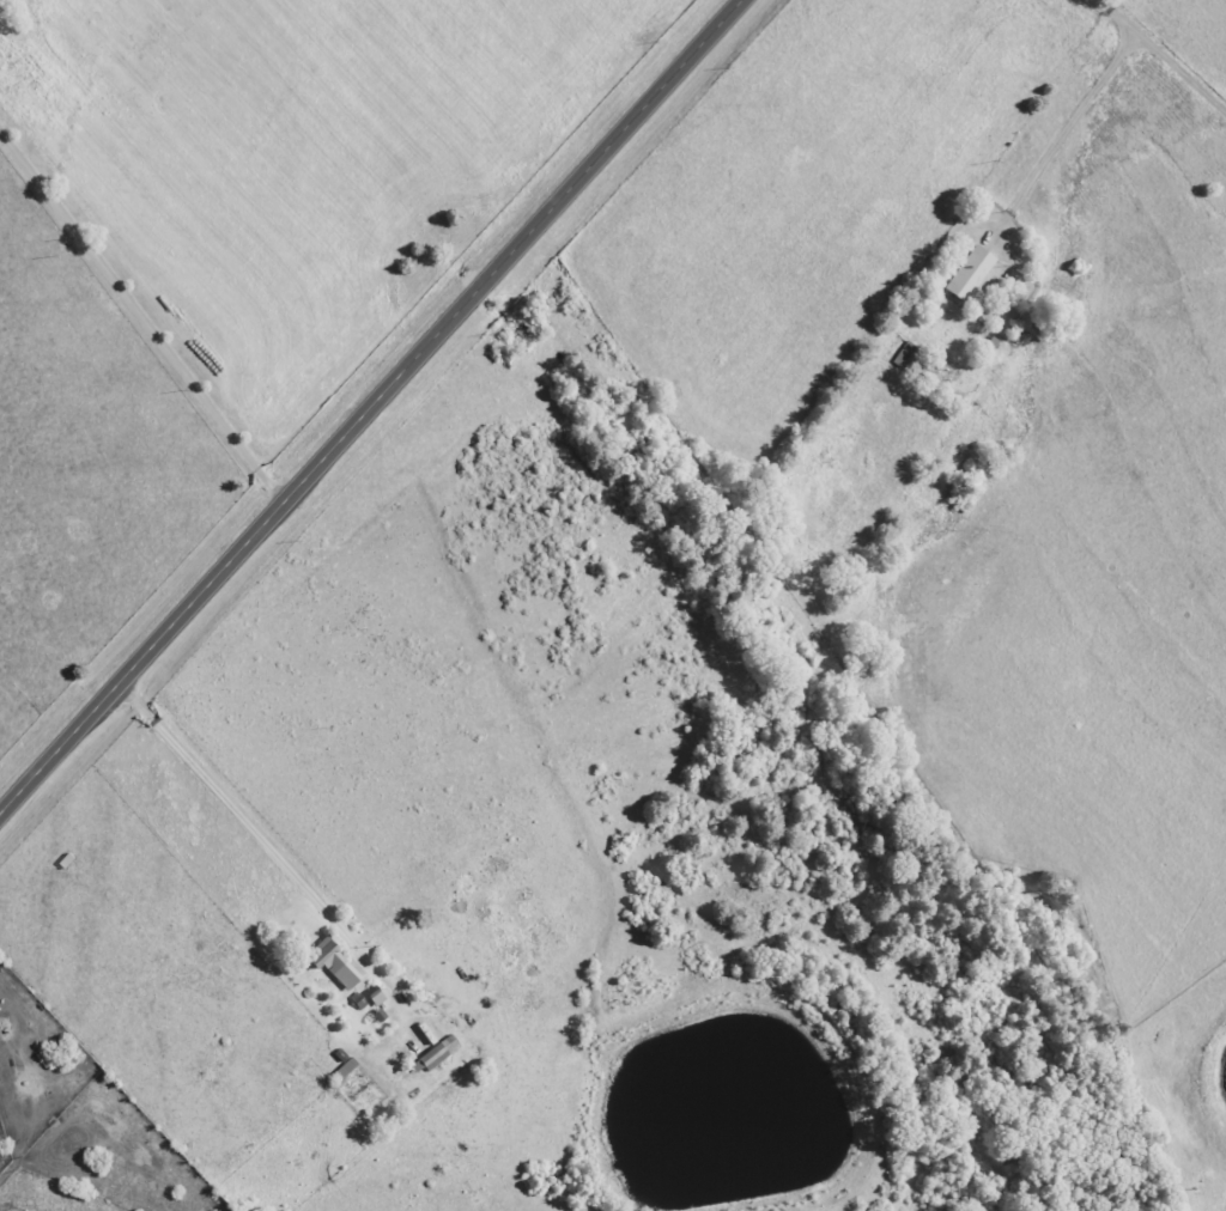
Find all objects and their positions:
road: (1161, 55)
road: (1061, 133)
building: (971, 274)
road: (133, 306)
road: (370, 407)
road: (229, 841)
building: (335, 963)
building: (436, 1055)

